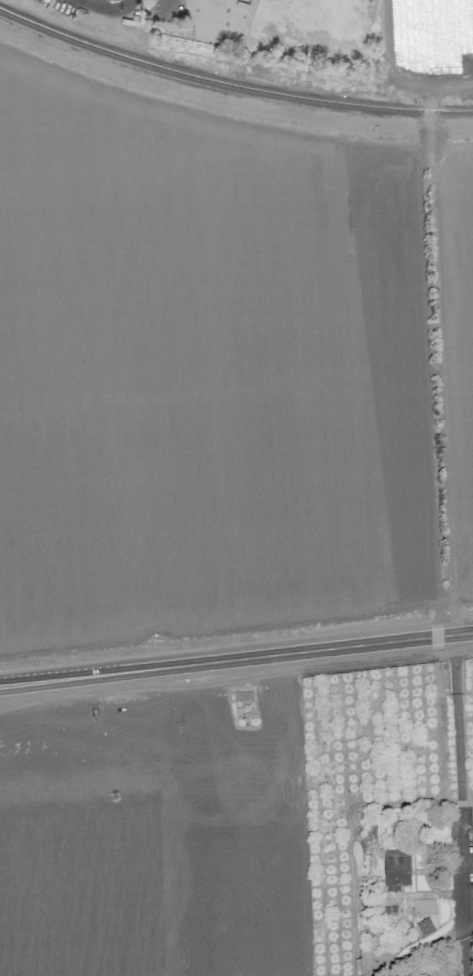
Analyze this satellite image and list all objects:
road: (166, 6)
road: (112, 9)
railway: (231, 84)
crop: (238, 524)
road: (236, 663)
road: (461, 806)
building: (396, 870)
building: (424, 907)
building: (425, 927)

